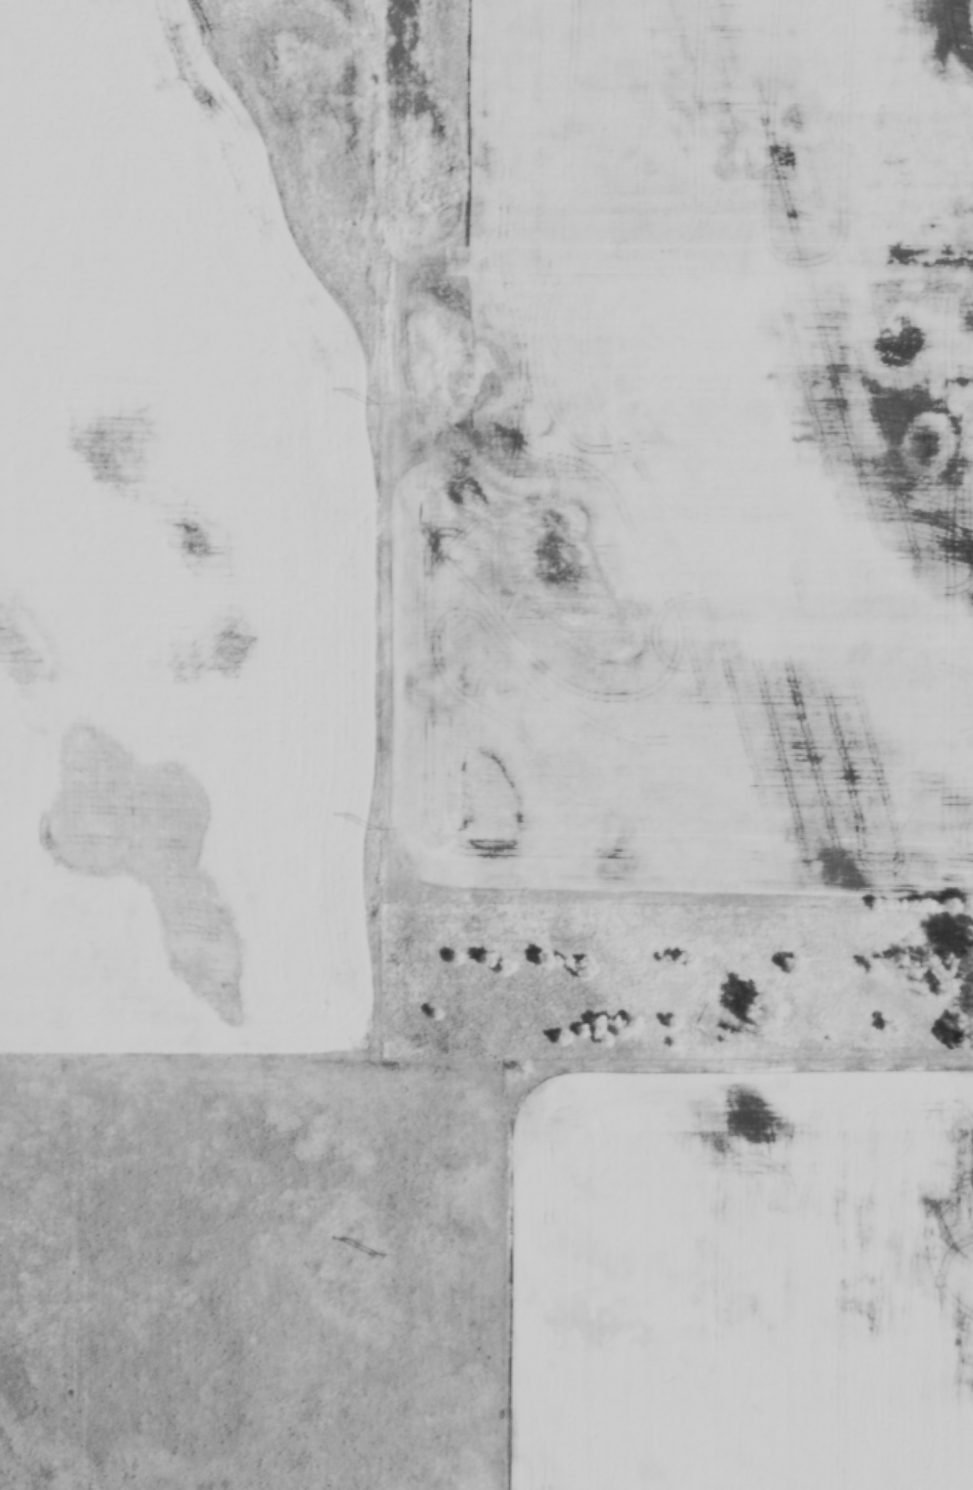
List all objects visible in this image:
power tower: (372, 403)
power tower: (373, 828)
power tower: (375, 1254)

